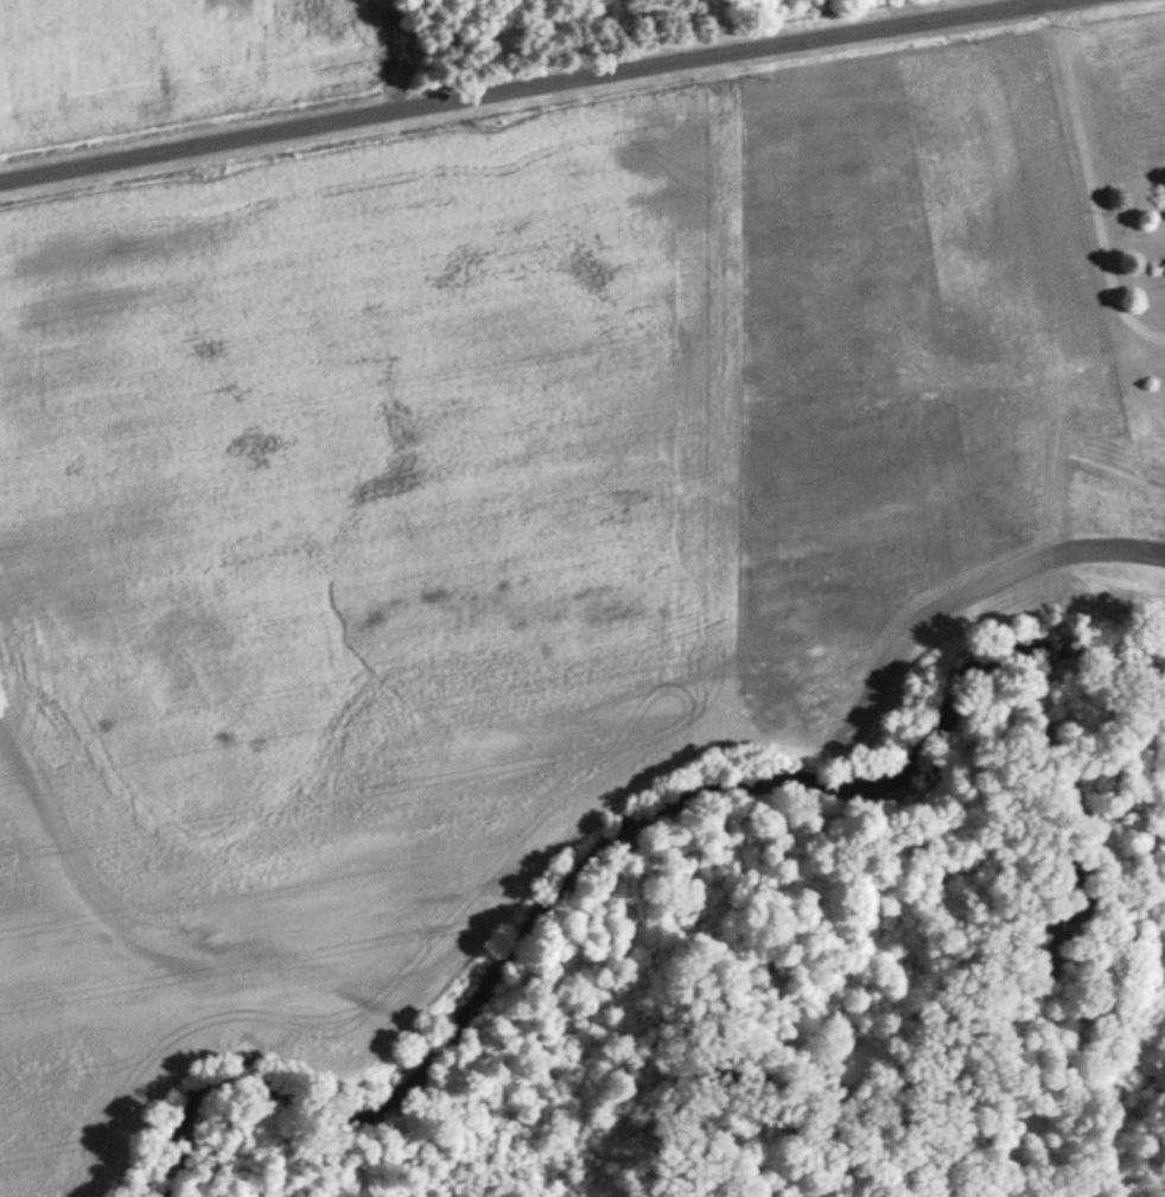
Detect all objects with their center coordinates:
road: (529, 89)
road: (1091, 178)
river: (605, 855)

